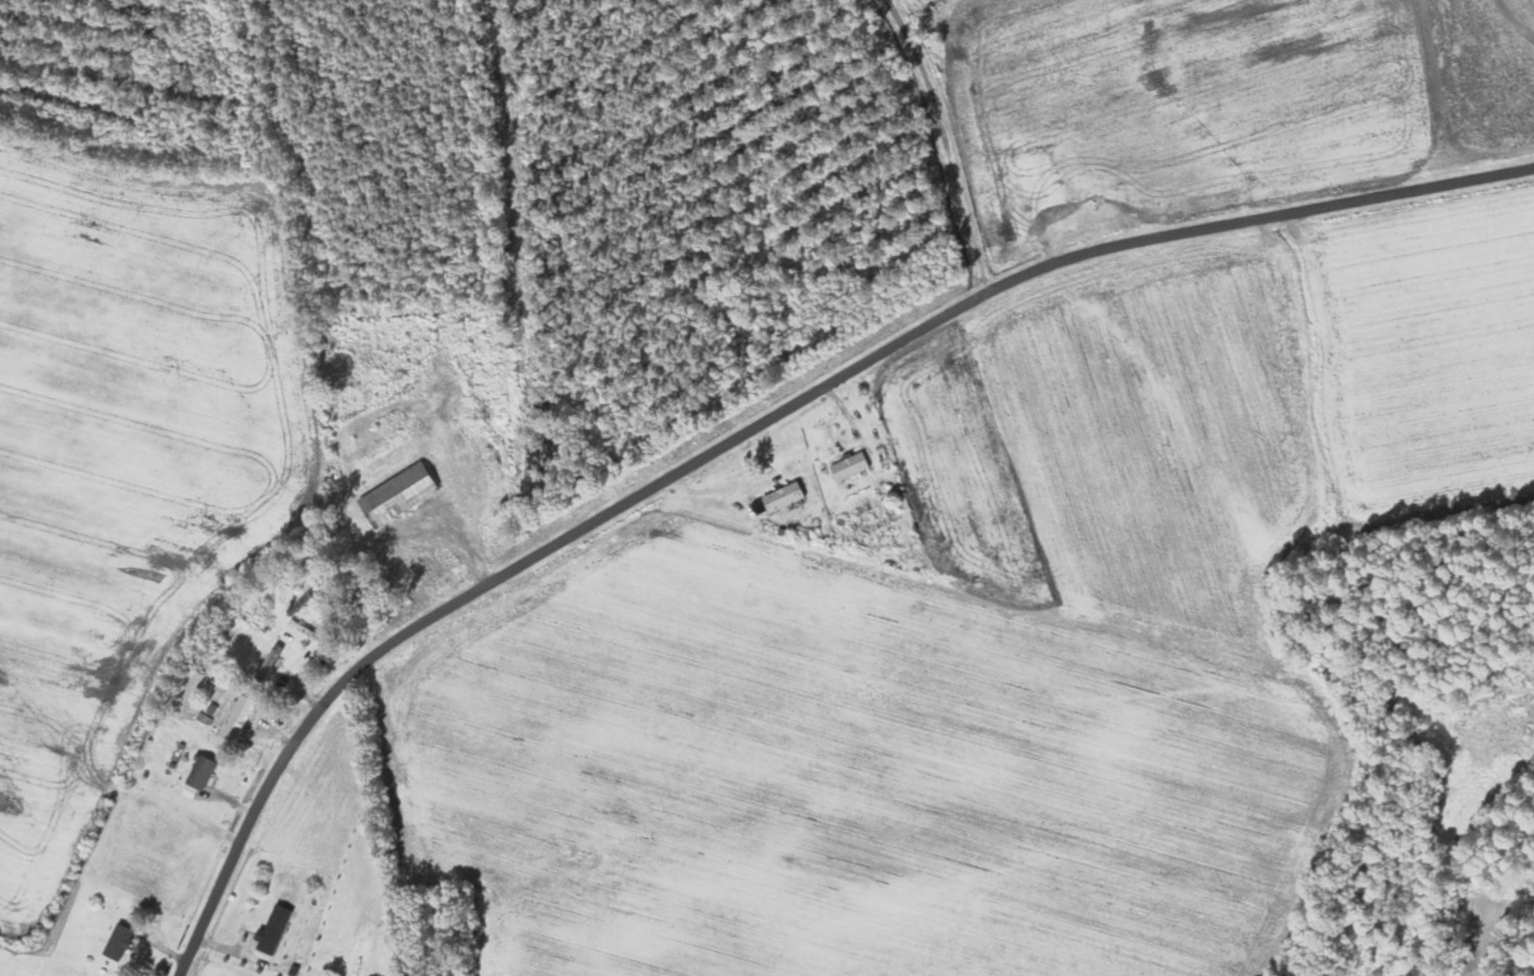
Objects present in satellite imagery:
road: (948, 141)
road: (758, 424)
building: (849, 465)
building: (403, 492)
building: (783, 495)
building: (301, 601)
building: (270, 661)
building: (237, 717)
building: (200, 771)
building: (272, 929)
building: (118, 941)

